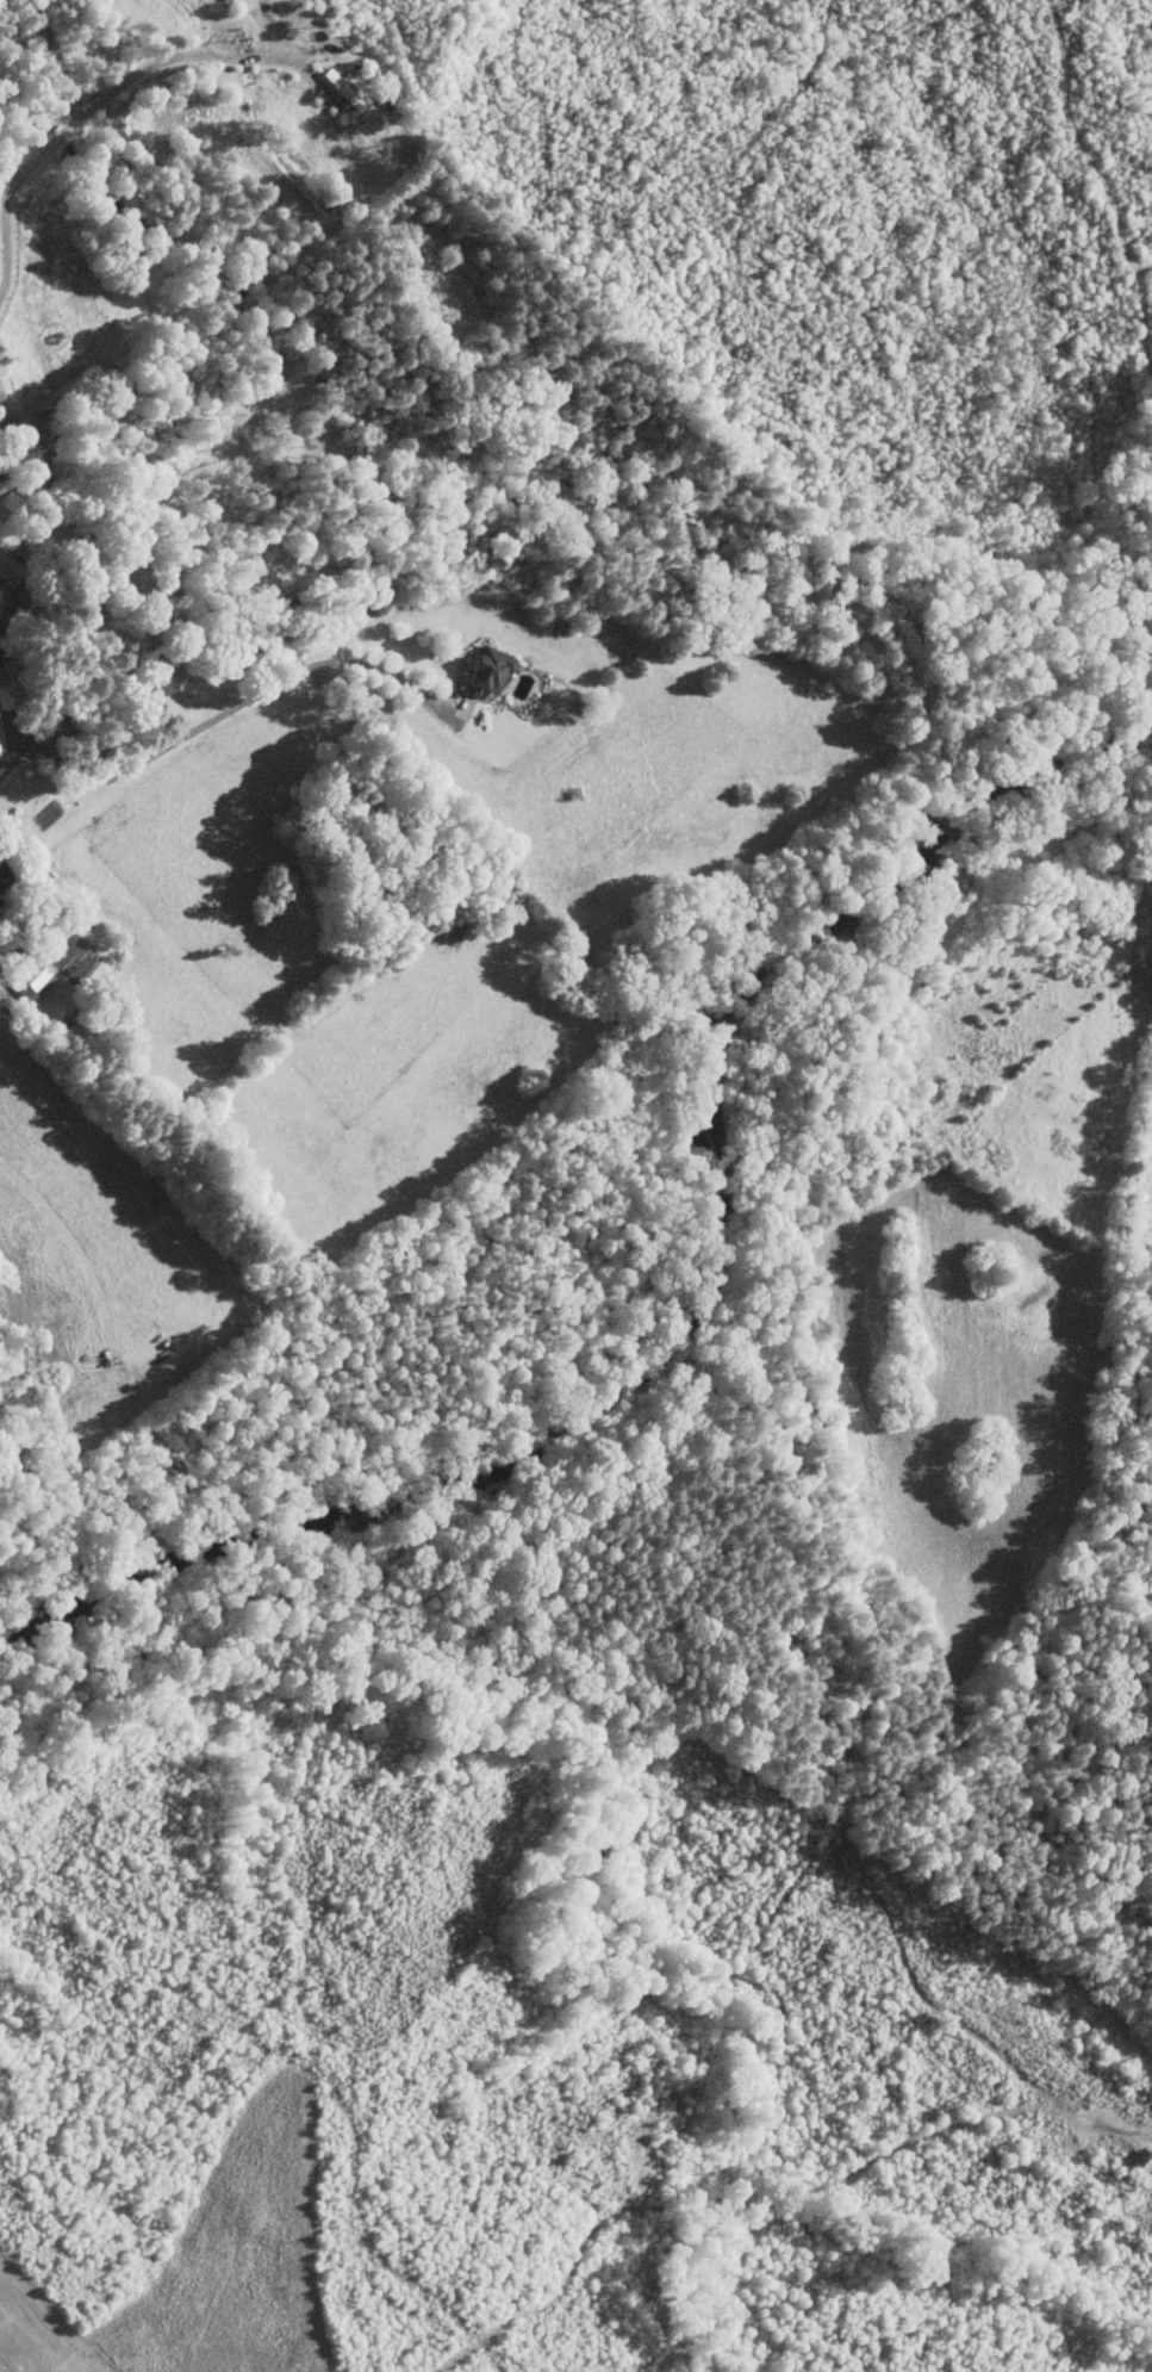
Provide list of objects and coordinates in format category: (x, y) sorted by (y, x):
building: (228, 1)
road: (178, 54)
building: (341, 88)
road: (50, 148)
road: (0, 399)
building: (7, 569)
building: (485, 671)
road: (236, 704)
road: (12, 726)
road: (12, 763)
building: (4, 878)
building: (36, 979)
road: (2, 993)

